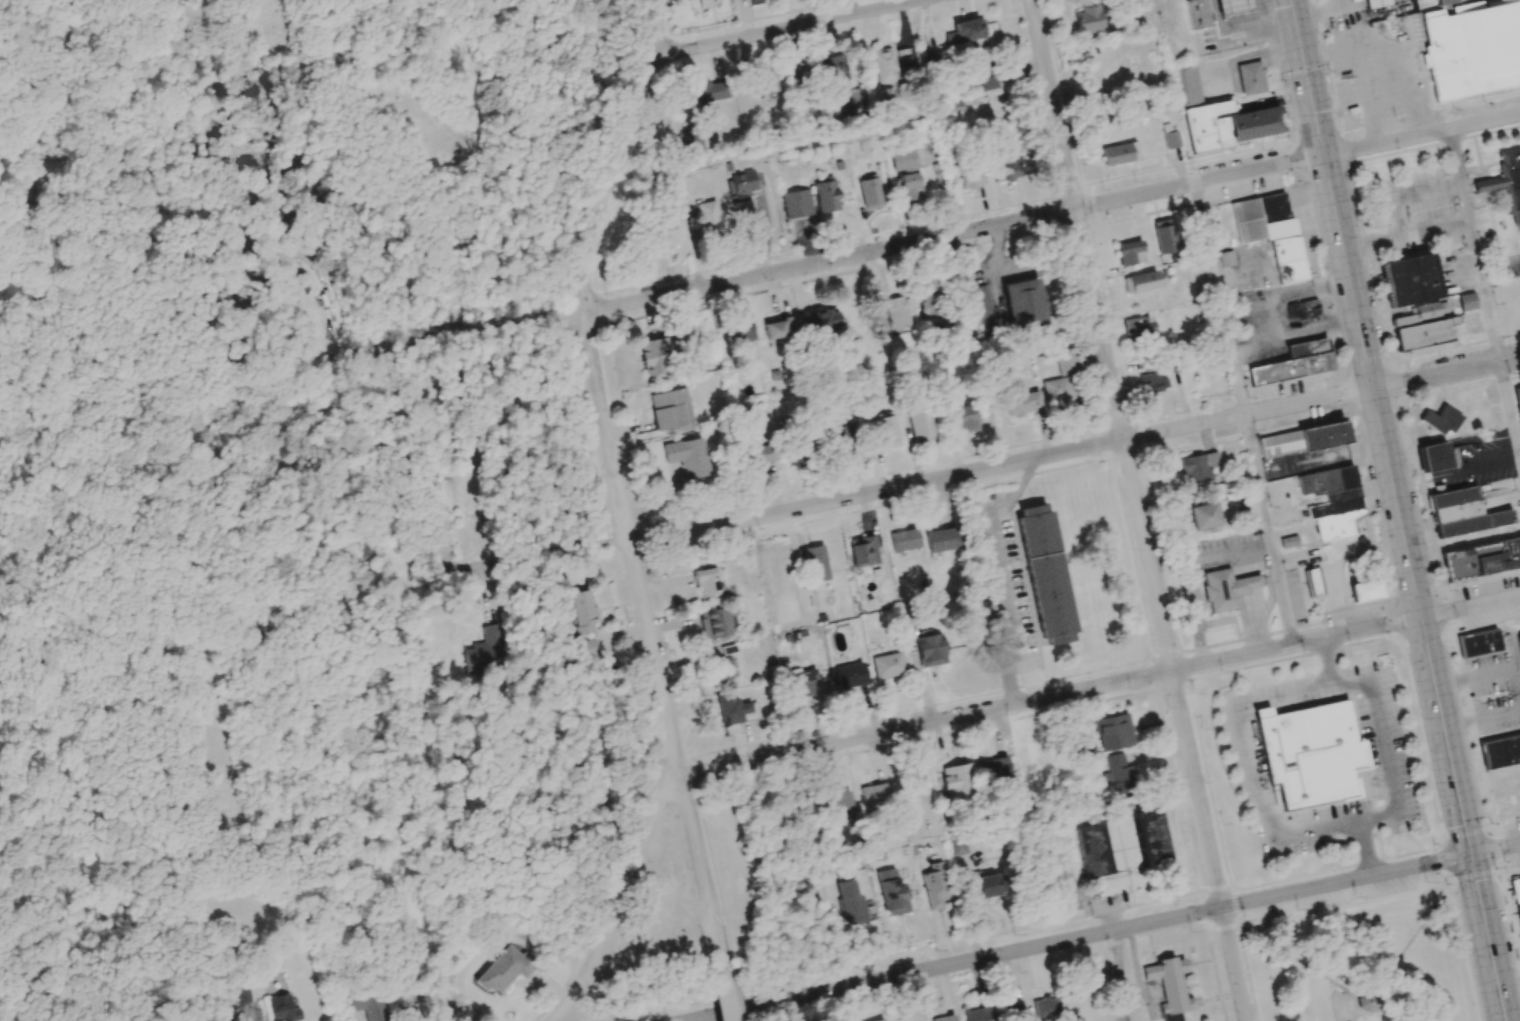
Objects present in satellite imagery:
building: (750, 0)
building: (1447, 2)
building: (1376, 3)
building: (1234, 6)
building: (1199, 13)
building: (1088, 20)
road: (788, 28)
building: (966, 31)
building: (1473, 49)
building: (905, 55)
building: (886, 71)
building: (835, 73)
building: (982, 76)
building: (1251, 78)
building: (763, 81)
building: (1188, 85)
building: (710, 91)
building: (1228, 125)
road: (1422, 135)
building: (693, 139)
building: (1171, 139)
building: (1117, 153)
road: (620, 155)
building: (1005, 169)
building: (907, 173)
building: (971, 177)
building: (1506, 183)
building: (743, 184)
building: (870, 193)
building: (826, 195)
building: (797, 203)
building: (743, 213)
building: (707, 216)
building: (662, 234)
road: (956, 234)
building: (1165, 236)
road: (1475, 245)
building: (1130, 253)
building: (1226, 258)
building: (1289, 260)
building: (1410, 280)
building: (1141, 282)
street lamp: (605, 296)
building: (928, 297)
road: (1225, 297)
building: (1467, 302)
building: (1024, 306)
building: (898, 310)
building: (1302, 310)
building: (984, 312)
building: (822, 320)
building: (1137, 327)
building: (777, 328)
building: (1423, 328)
road: (1100, 335)
building: (741, 342)
road: (375, 348)
building: (651, 352)
road: (1368, 361)
building: (1066, 362)
building: (1294, 363)
road: (1446, 371)
road: (1341, 382)
building: (1152, 384)
building: (1057, 389)
street lamp: (576, 391)
building: (1517, 400)
building: (1023, 404)
building: (670, 410)
road: (1509, 410)
building: (964, 418)
building: (1441, 420)
building: (920, 424)
road: (1381, 427)
road: (605, 428)
building: (887, 431)
building: (1303, 440)
building: (840, 442)
building: (760, 454)
building: (685, 456)
building: (1436, 457)
road: (1002, 465)
building: (1198, 466)
building: (1332, 501)
building: (1463, 513)
building: (1203, 516)
street lamp: (639, 529)
road: (1271, 529)
building: (942, 539)
building: (904, 540)
building: (1289, 544)
building: (863, 551)
road: (564, 555)
building: (1481, 559)
building: (816, 563)
building: (1045, 573)
road: (1000, 574)
building: (707, 582)
building: (1311, 582)
building: (1226, 589)
building: (1365, 591)
road: (1470, 607)
building: (582, 612)
building: (714, 622)
street lamp: (626, 624)
road: (1441, 627)
building: (1519, 635)
road: (1296, 644)
building: (1481, 644)
building: (589, 648)
building: (931, 650)
building: (487, 651)
building: (888, 665)
building: (722, 669)
building: (852, 674)
building: (802, 684)
building: (734, 709)
road: (924, 721)
building: (1113, 732)
building: (1501, 751)
building: (1310, 752)
road: (1383, 752)
street lamp: (651, 764)
building: (994, 769)
building: (1118, 776)
building: (959, 780)
road: (662, 789)
building: (874, 794)
road: (1489, 827)
road: (727, 834)
building: (1149, 838)
road: (1208, 845)
road: (695, 849)
road: (1495, 850)
building: (1093, 851)
traffic signals: (1471, 855)
road: (711, 860)
street lamp: (648, 861)
street lamp: (687, 869)
building: (934, 886)
building: (985, 886)
building: (1515, 890)
building: (893, 897)
road: (1343, 900)
building: (853, 904)
road: (1236, 914)
building: (1517, 915)
road: (1232, 925)
building: (1519, 932)
road: (1414, 936)
road: (1488, 937)
road: (1074, 938)
road: (1462, 949)
street lamp: (726, 951)
park: (1361, 959)
street lamp: (616, 961)
road: (1298, 963)
building: (504, 969)
road: (1249, 972)
road: (731, 973)
road: (721, 974)
building: (1170, 986)
building: (243, 995)
building: (1370, 1003)
building: (368, 1004)
building: (1045, 1007)
building: (284, 1008)
building: (1011, 1012)
building: (977, 1014)
road: (1388, 1015)
road: (1360, 1017)
building: (945, 1018)
road: (243, 1020)
building: (879, 1020)
building: (1042, 1020)

